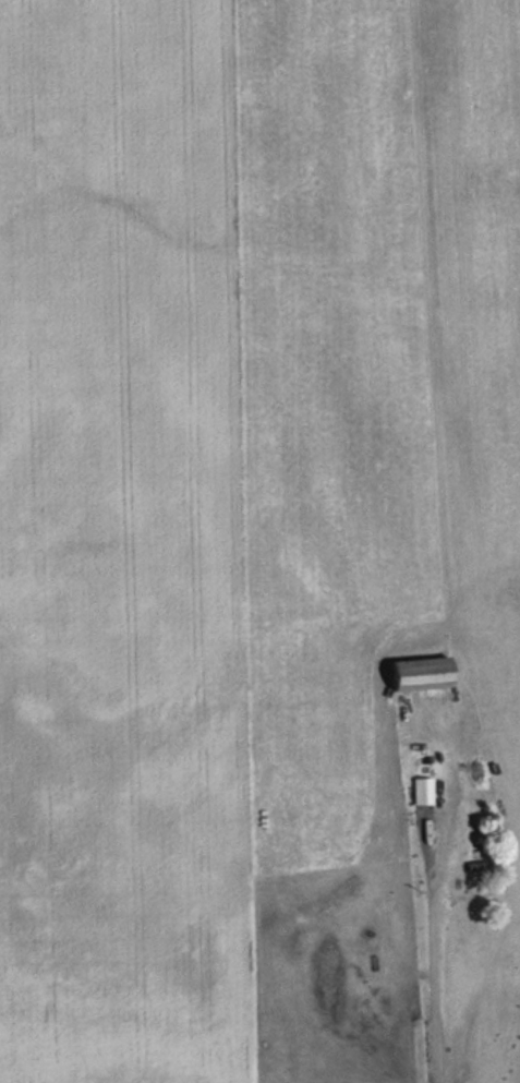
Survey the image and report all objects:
building: (423, 672)
building: (423, 790)
building: (456, 850)
road: (435, 958)

